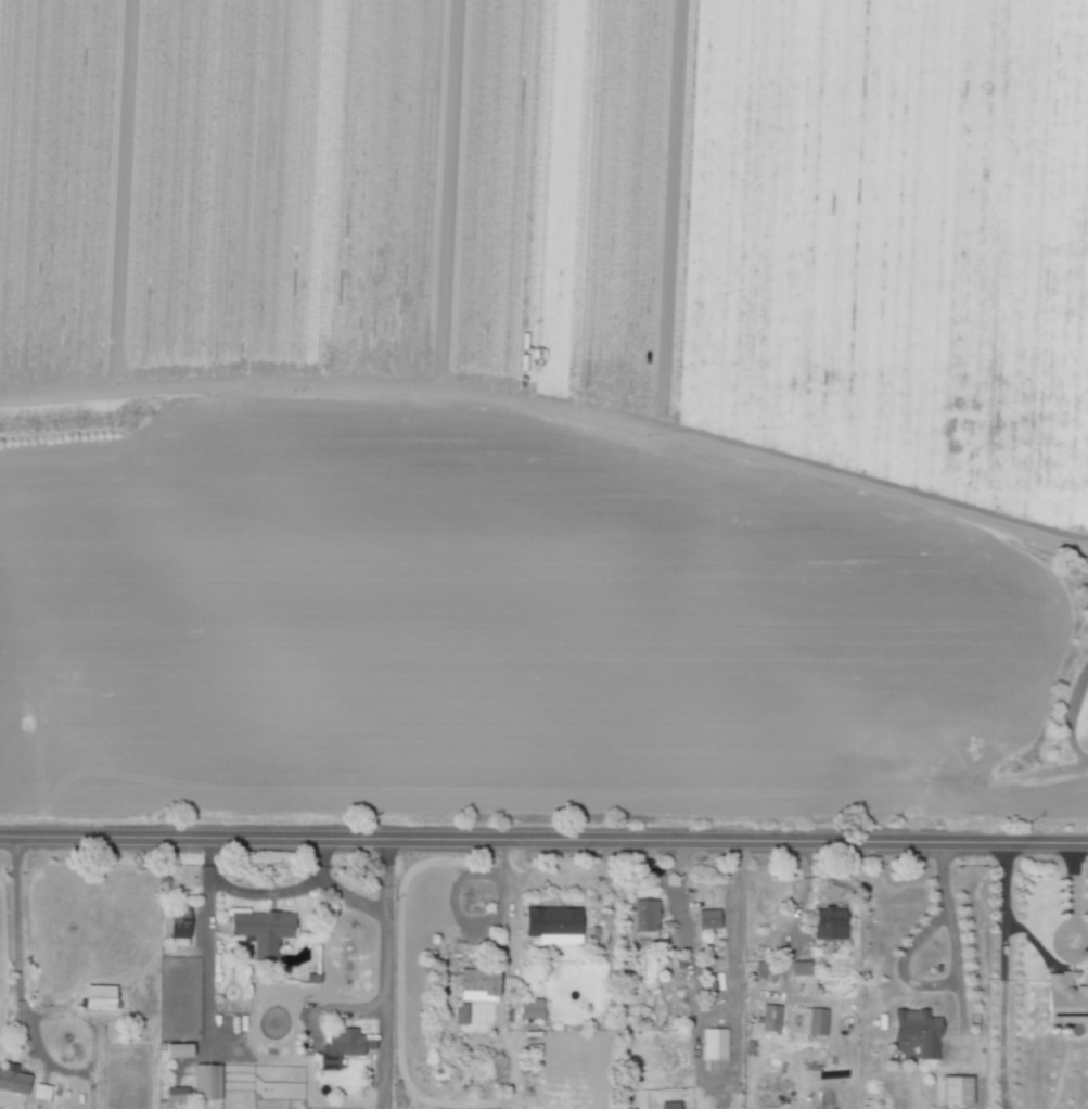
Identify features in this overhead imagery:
road: (543, 840)
road: (320, 861)
road: (553, 876)
road: (1072, 884)
road: (278, 891)
building: (643, 919)
building: (706, 919)
building: (176, 922)
building: (827, 923)
building: (551, 925)
road: (1014, 925)
building: (259, 930)
road: (1086, 938)
road: (953, 940)
road: (908, 956)
road: (207, 966)
building: (798, 968)
road: (385, 973)
building: (475, 984)
road: (13, 989)
building: (95, 997)
building: (1065, 999)
building: (528, 1009)
road: (1001, 1009)
building: (458, 1014)
building: (768, 1018)
building: (811, 1021)
building: (916, 1031)
building: (712, 1044)
building: (341, 1047)
building: (176, 1050)
building: (12, 1080)
building: (205, 1081)
building: (955, 1091)
building: (40, 1092)
building: (175, 1094)
building: (667, 1105)

